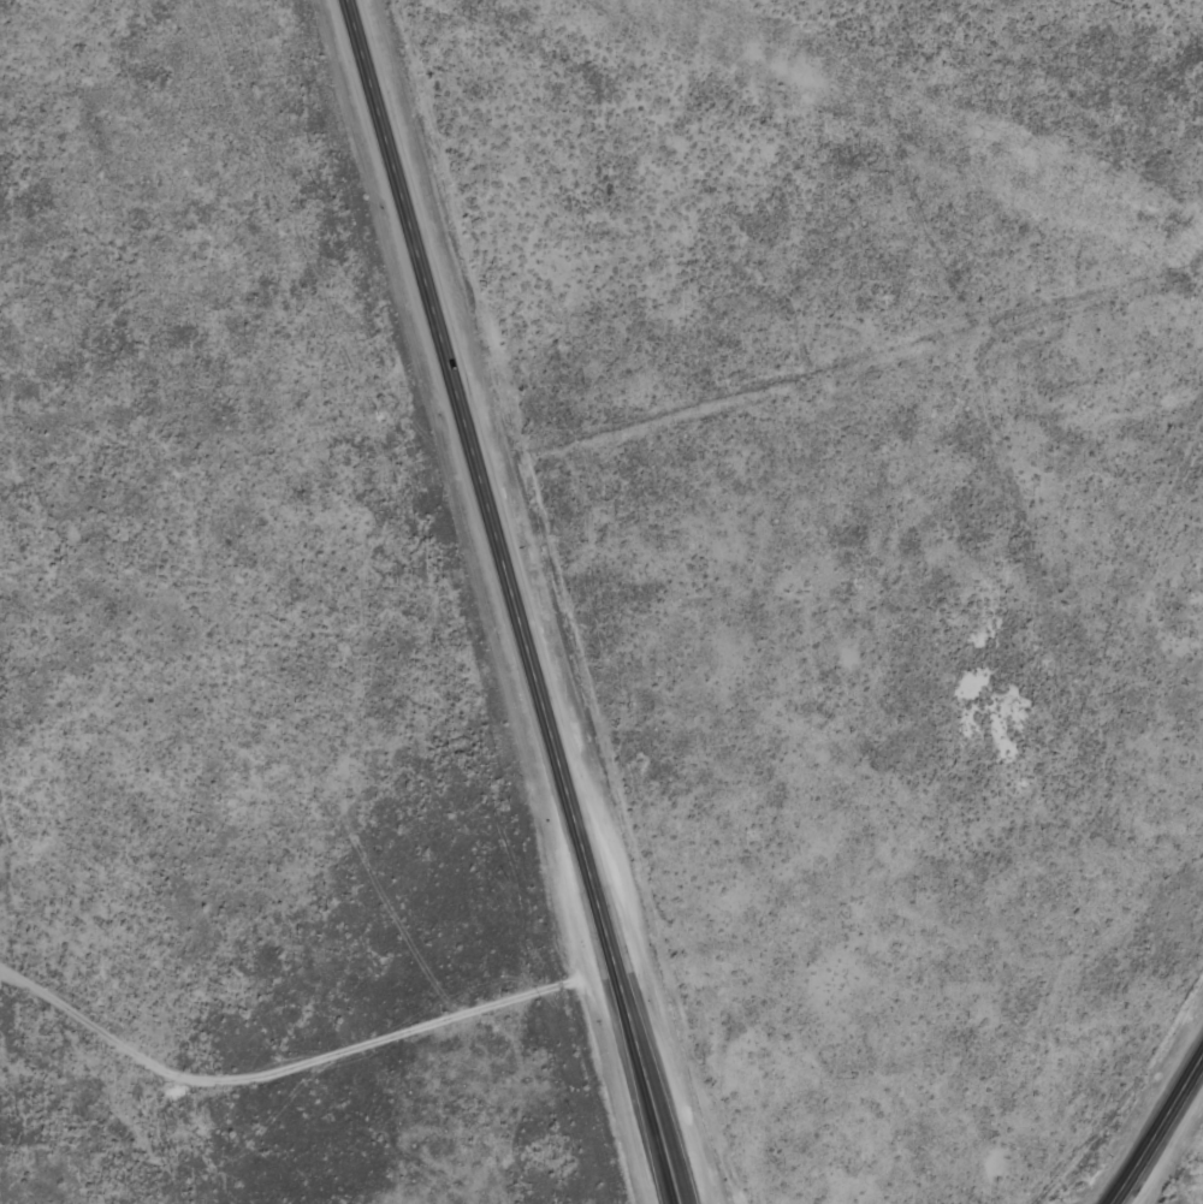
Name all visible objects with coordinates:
road: (516, 601)
road: (316, 1105)
road: (1161, 1134)

